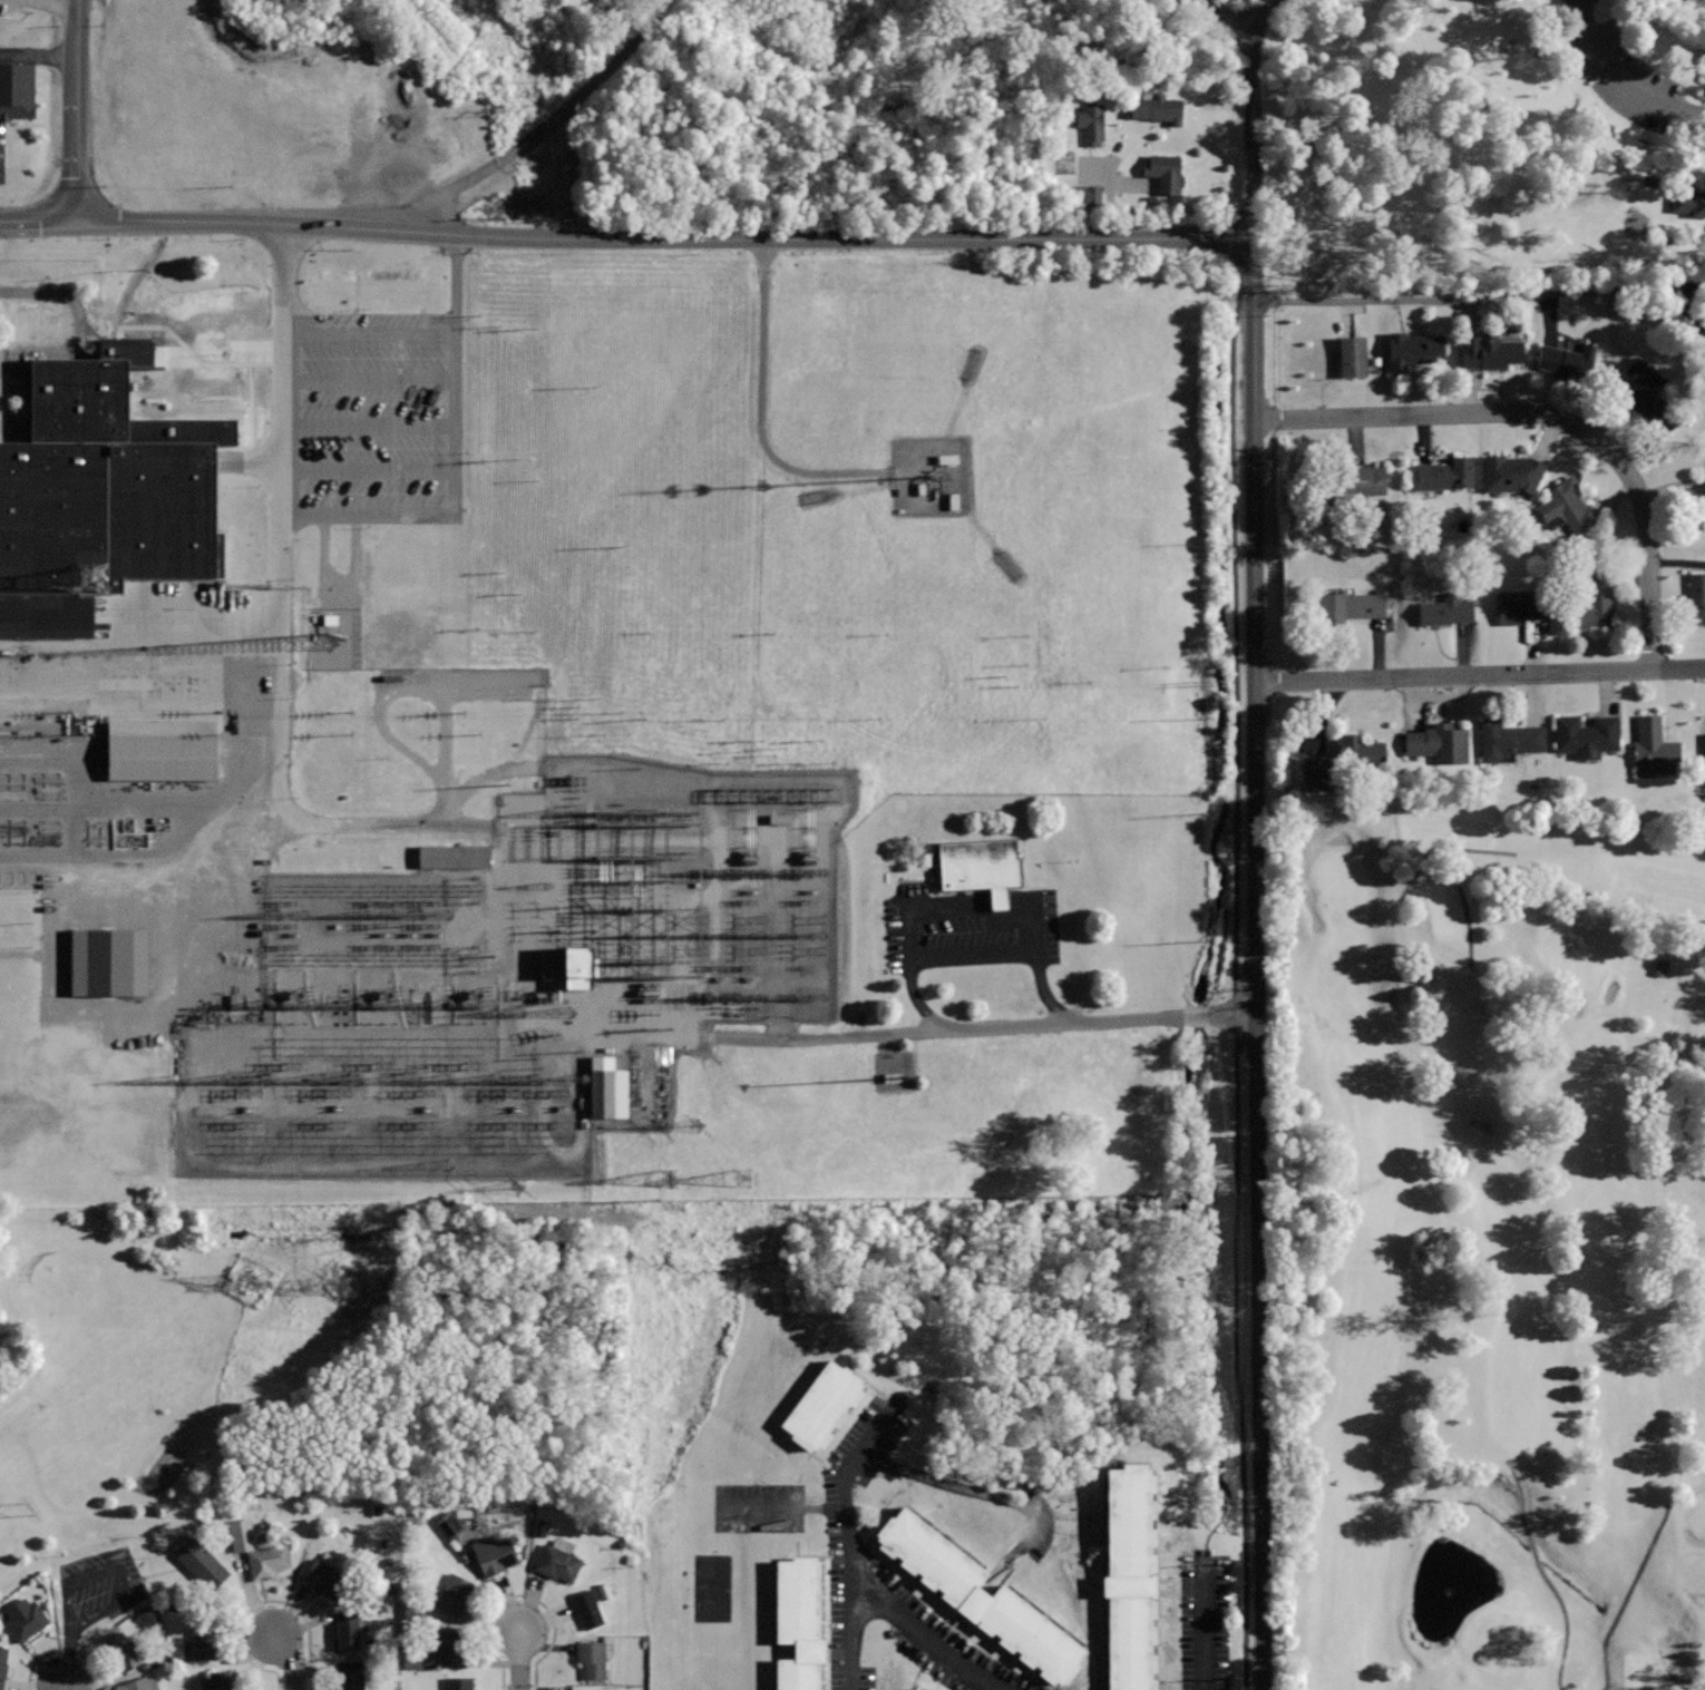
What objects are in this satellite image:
road: (1580, 0)
road: (50, 6)
road: (1227, 18)
road: (40, 57)
parking lot: (1620, 67)
road: (1626, 78)
parking lot: (22, 79)
building: (17, 90)
building: (1157, 109)
road: (80, 110)
road: (1253, 113)
building: (1092, 123)
road: (548, 125)
park: (1477, 147)
building: (1163, 170)
building: (1084, 195)
building: (1689, 203)
road: (627, 240)
road: (1449, 301)
road: (80, 324)
building: (348, 348)
parking lot: (31, 349)
building: (1413, 349)
building: (1490, 349)
road: (177, 352)
building: (1353, 355)
building: (1567, 360)
building: (1644, 387)
road: (368, 392)
road: (759, 410)
road: (1551, 419)
road: (368, 423)
building: (945, 459)
road: (452, 460)
road: (249, 465)
road: (368, 468)
building: (1512, 472)
building: (1443, 473)
parking lot: (361, 483)
building: (1356, 486)
building: (1704, 490)
building: (103, 494)
building: (1566, 505)
building: (1598, 597)
building: (1696, 599)
building: (1352, 605)
building: (1521, 605)
building: (1446, 610)
road: (282, 624)
road: (140, 666)
road: (1480, 675)
road: (416, 685)
building: (1586, 735)
building: (1508, 740)
building: (1439, 742)
building: (1653, 744)
building: (157, 750)
building: (1360, 751)
building: (1704, 758)
road: (52, 764)
road: (487, 774)
building: (1312, 774)
parking lot: (106, 803)
road: (148, 803)
road: (71, 809)
building: (777, 819)
road: (1470, 847)
road: (131, 856)
building: (450, 857)
building: (977, 868)
road: (130, 897)
road: (1464, 902)
road: (946, 909)
road: (207, 928)
parking lot: (163, 930)
road: (59, 935)
parking lot: (968, 937)
road: (970, 951)
road: (19, 955)
road: (1034, 957)
building: (105, 961)
road: (1257, 965)
building: (572, 968)
building: (1659, 968)
road: (907, 977)
power substation: (522, 978)
road: (1235, 979)
building: (233, 1003)
road: (1220, 1015)
road: (892, 1034)
building: (894, 1072)
building: (605, 1090)
power tower: (694, 1125)
power tower: (742, 1171)
power tower: (669, 1179)
power tower: (522, 1190)
park: (1481, 1239)
power tower: (246, 1280)
power tower: (340, 1288)
park: (70, 1291)
building: (822, 1406)
park: (118, 1411)
parking lot: (866, 1446)
road: (987, 1495)
power tower: (28, 1507)
building: (1128, 1520)
building: (494, 1553)
building: (932, 1555)
building: (556, 1559)
building: (269, 1560)
building: (199, 1561)
road: (1542, 1571)
road: (858, 1573)
building: (325, 1576)
parking lot: (99, 1586)
building: (455, 1593)
road: (1626, 1595)
road: (517, 1596)
building: (798, 1599)
road: (261, 1602)
building: (588, 1609)
parking lot: (844, 1614)
building: (26, 1618)
parking lot: (1205, 1623)
road: (1205, 1625)
building: (347, 1630)
building: (1033, 1634)
parking lot: (936, 1639)
road: (856, 1640)
building: (205, 1641)
building: (449, 1644)
building: (1130, 1644)
road: (64, 1649)
building: (121, 1651)
building: (591, 1658)
road: (292, 1660)
building: (409, 1660)
road: (519, 1660)
building: (2, 1664)
building: (350, 1674)
building: (799, 1674)
building: (220, 1680)
building: (139, 1682)
building: (459, 1683)
road: (65, 1687)
building: (912, 1688)
building: (904, 1689)

